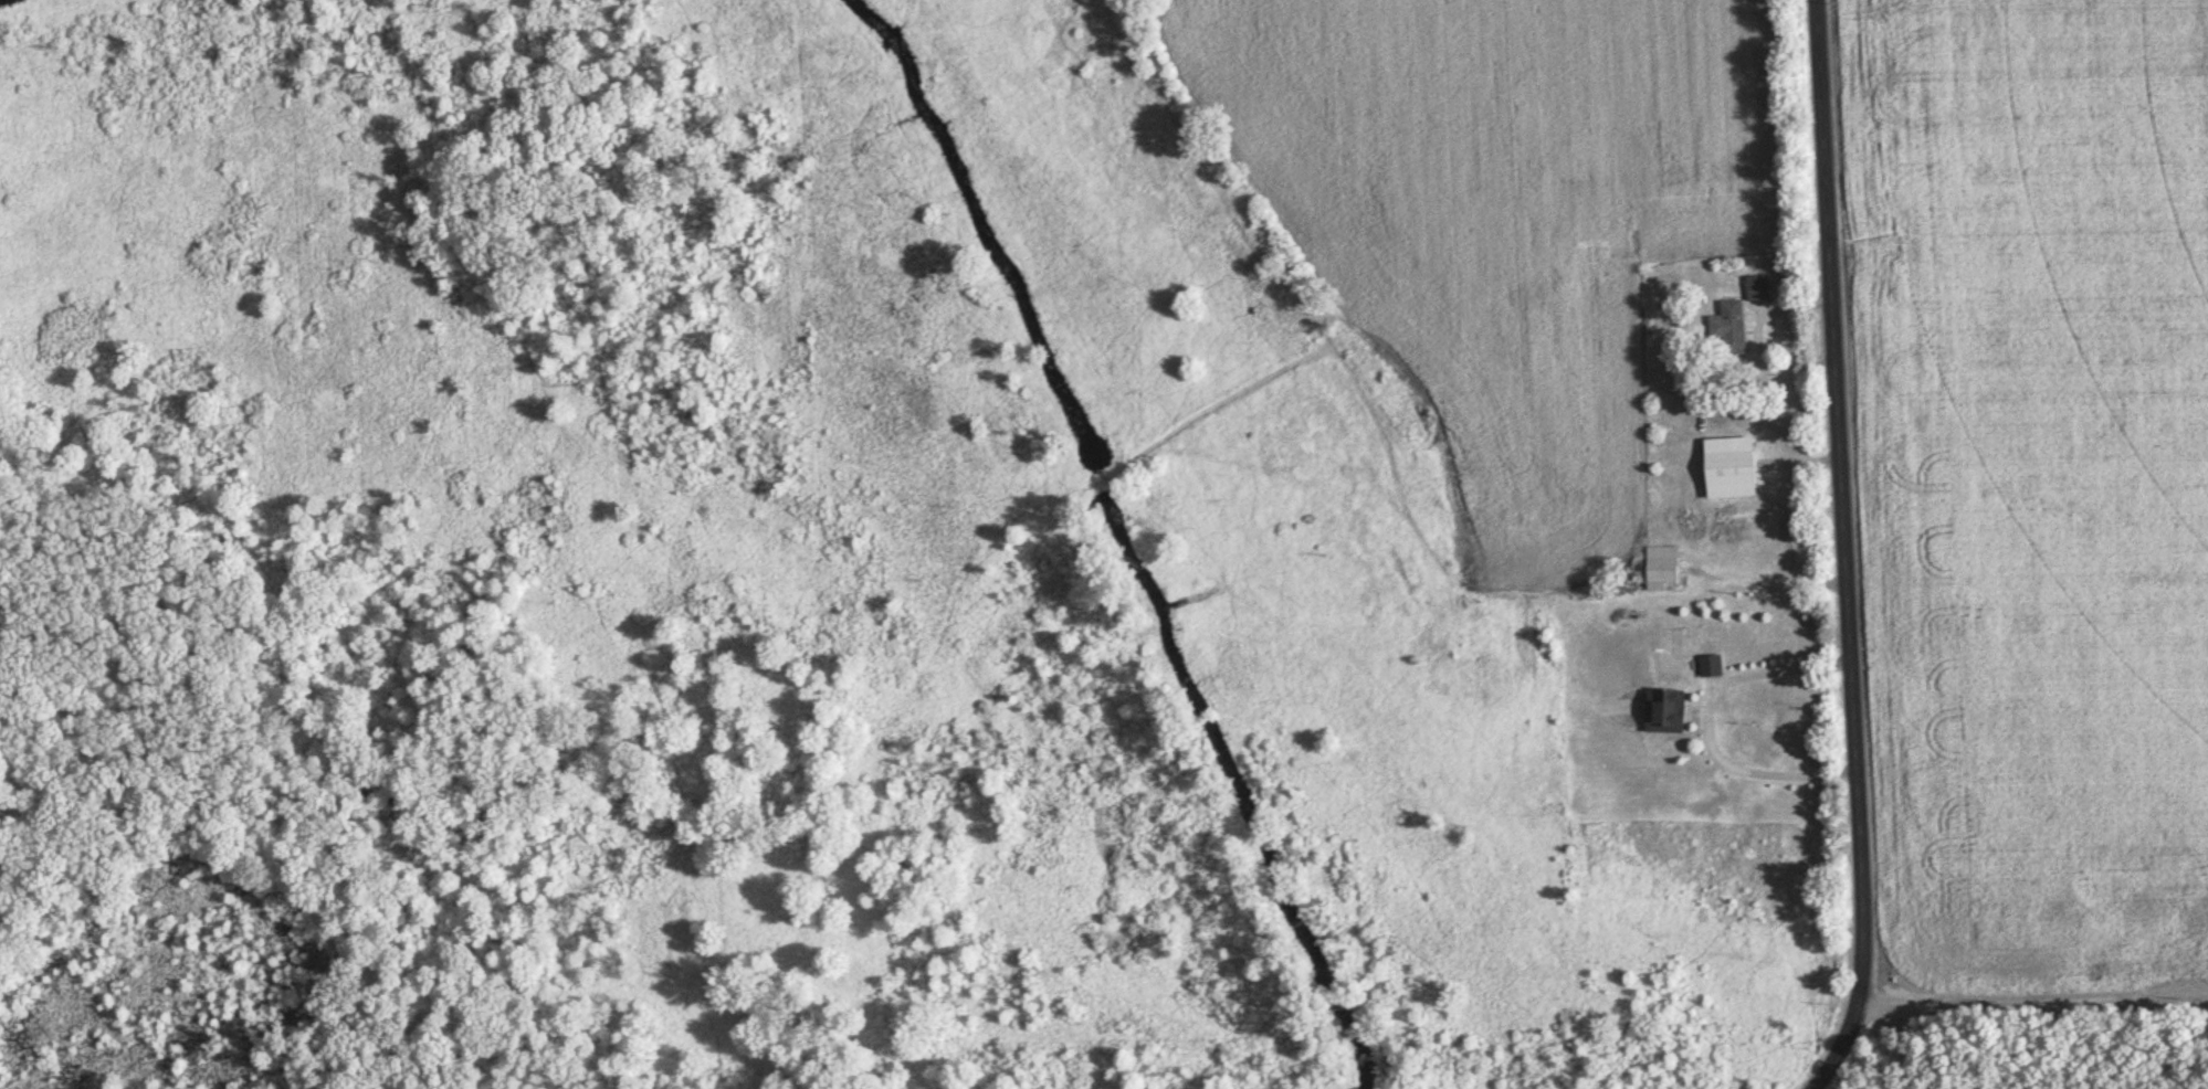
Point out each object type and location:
building: (1758, 289)
building: (1732, 328)
building: (1731, 469)
road: (1844, 552)
building: (1661, 569)
building: (1711, 667)
building: (1665, 712)
road: (1707, 718)
road: (2036, 1018)

